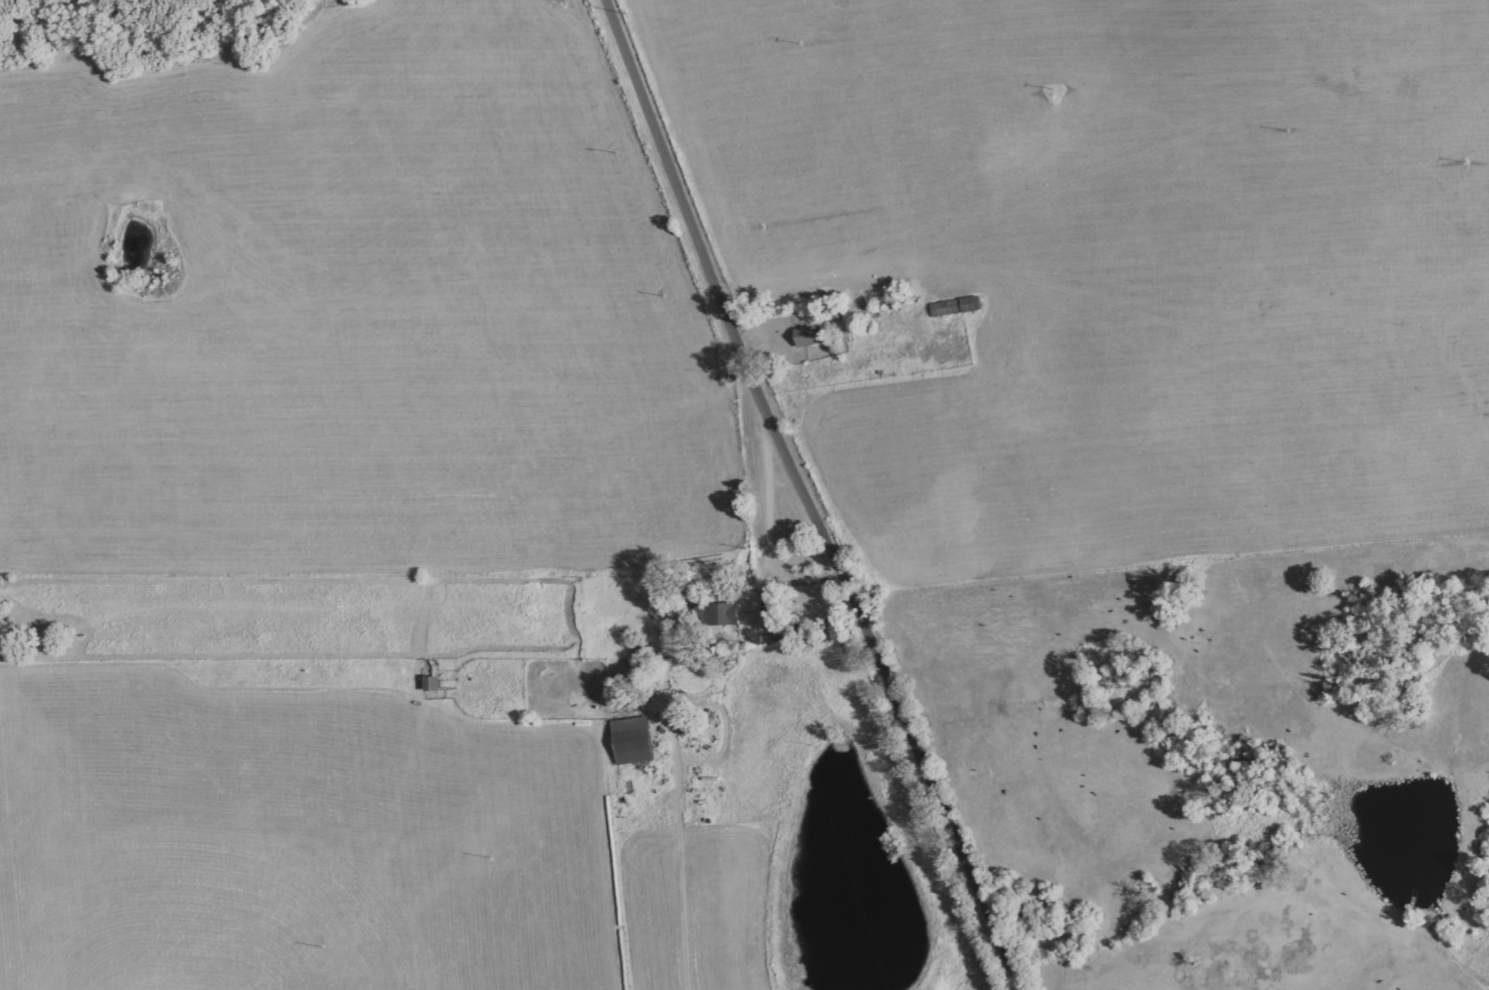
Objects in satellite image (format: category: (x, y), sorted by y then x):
building: (956, 307)
building: (812, 336)
road: (805, 498)
building: (723, 614)
building: (634, 741)

